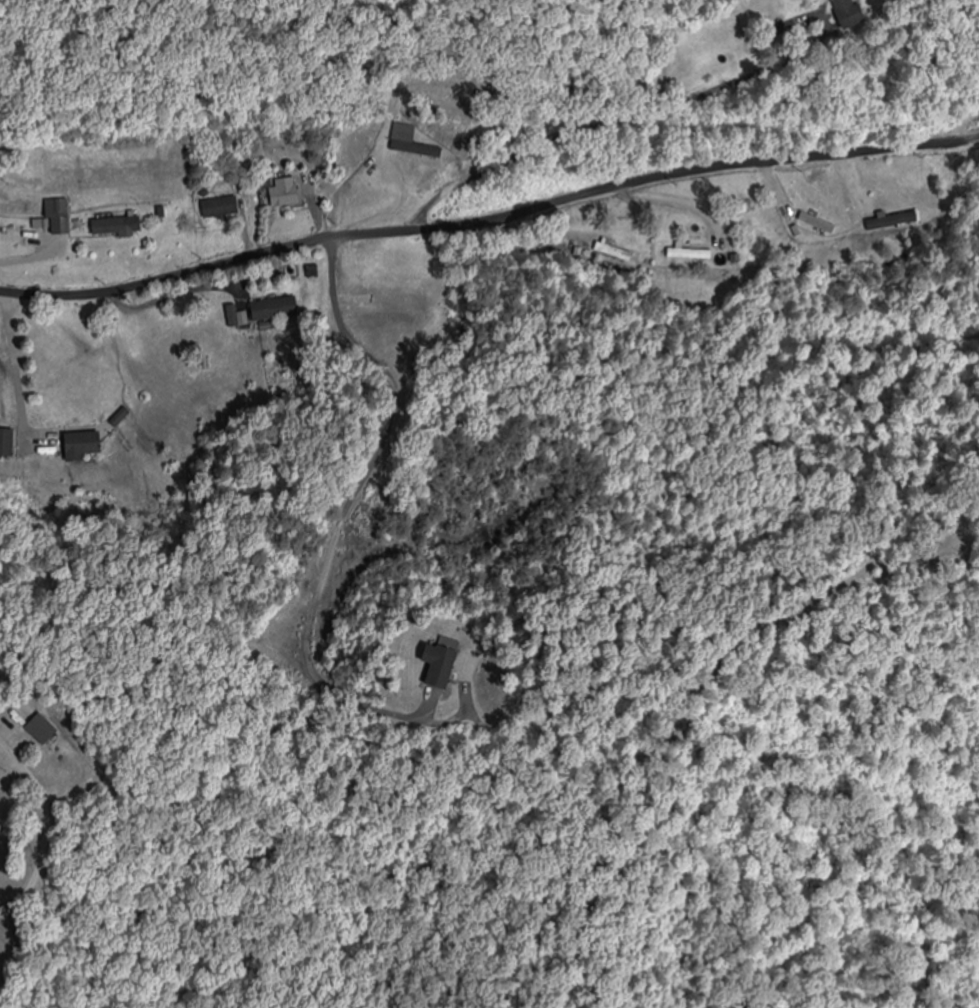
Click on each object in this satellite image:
building: (851, 13)
building: (286, 194)
building: (222, 209)
road: (489, 216)
building: (57, 218)
building: (897, 222)
building: (817, 223)
building: (119, 227)
building: (12, 232)
building: (615, 252)
building: (688, 255)
building: (275, 310)
building: (84, 446)
building: (441, 667)
building: (43, 731)
road: (15, 949)

